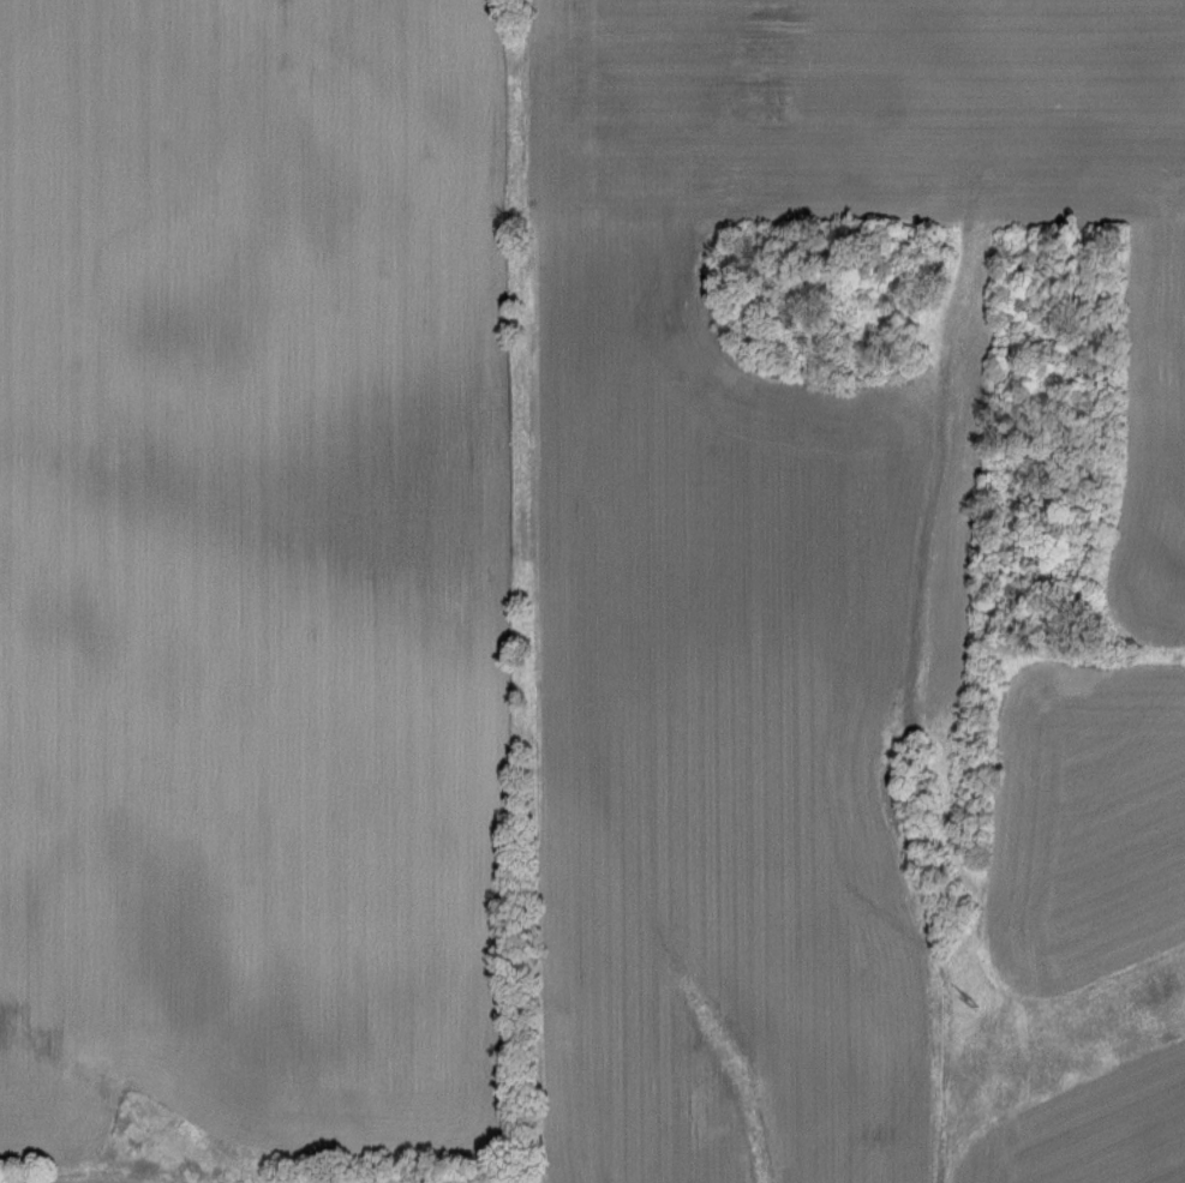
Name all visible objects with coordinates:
power tower: (982, 999)

